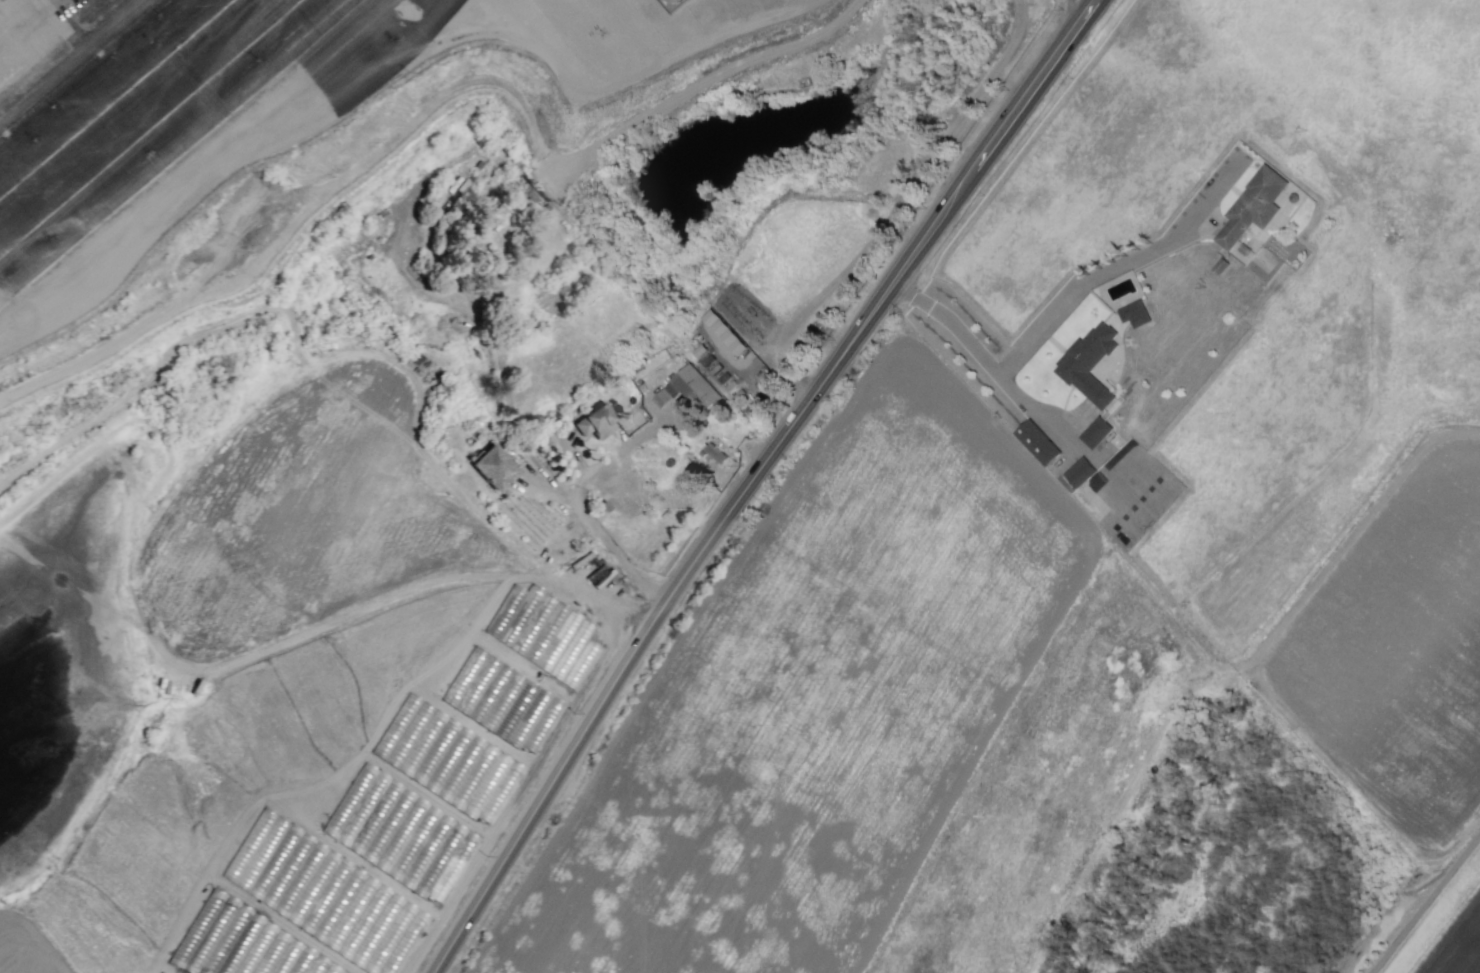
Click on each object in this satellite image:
road: (1451, 63)
building: (1253, 206)
road: (1120, 265)
building: (1135, 313)
building: (725, 331)
road: (993, 361)
building: (1090, 363)
building: (691, 389)
building: (594, 421)
building: (1096, 432)
building: (1038, 442)
road: (627, 445)
road: (572, 458)
building: (492, 466)
building: (1080, 472)
road: (755, 481)
road: (576, 489)
road: (590, 530)
crop: (807, 573)
building: (543, 632)
building: (324, 894)
road: (1423, 902)

